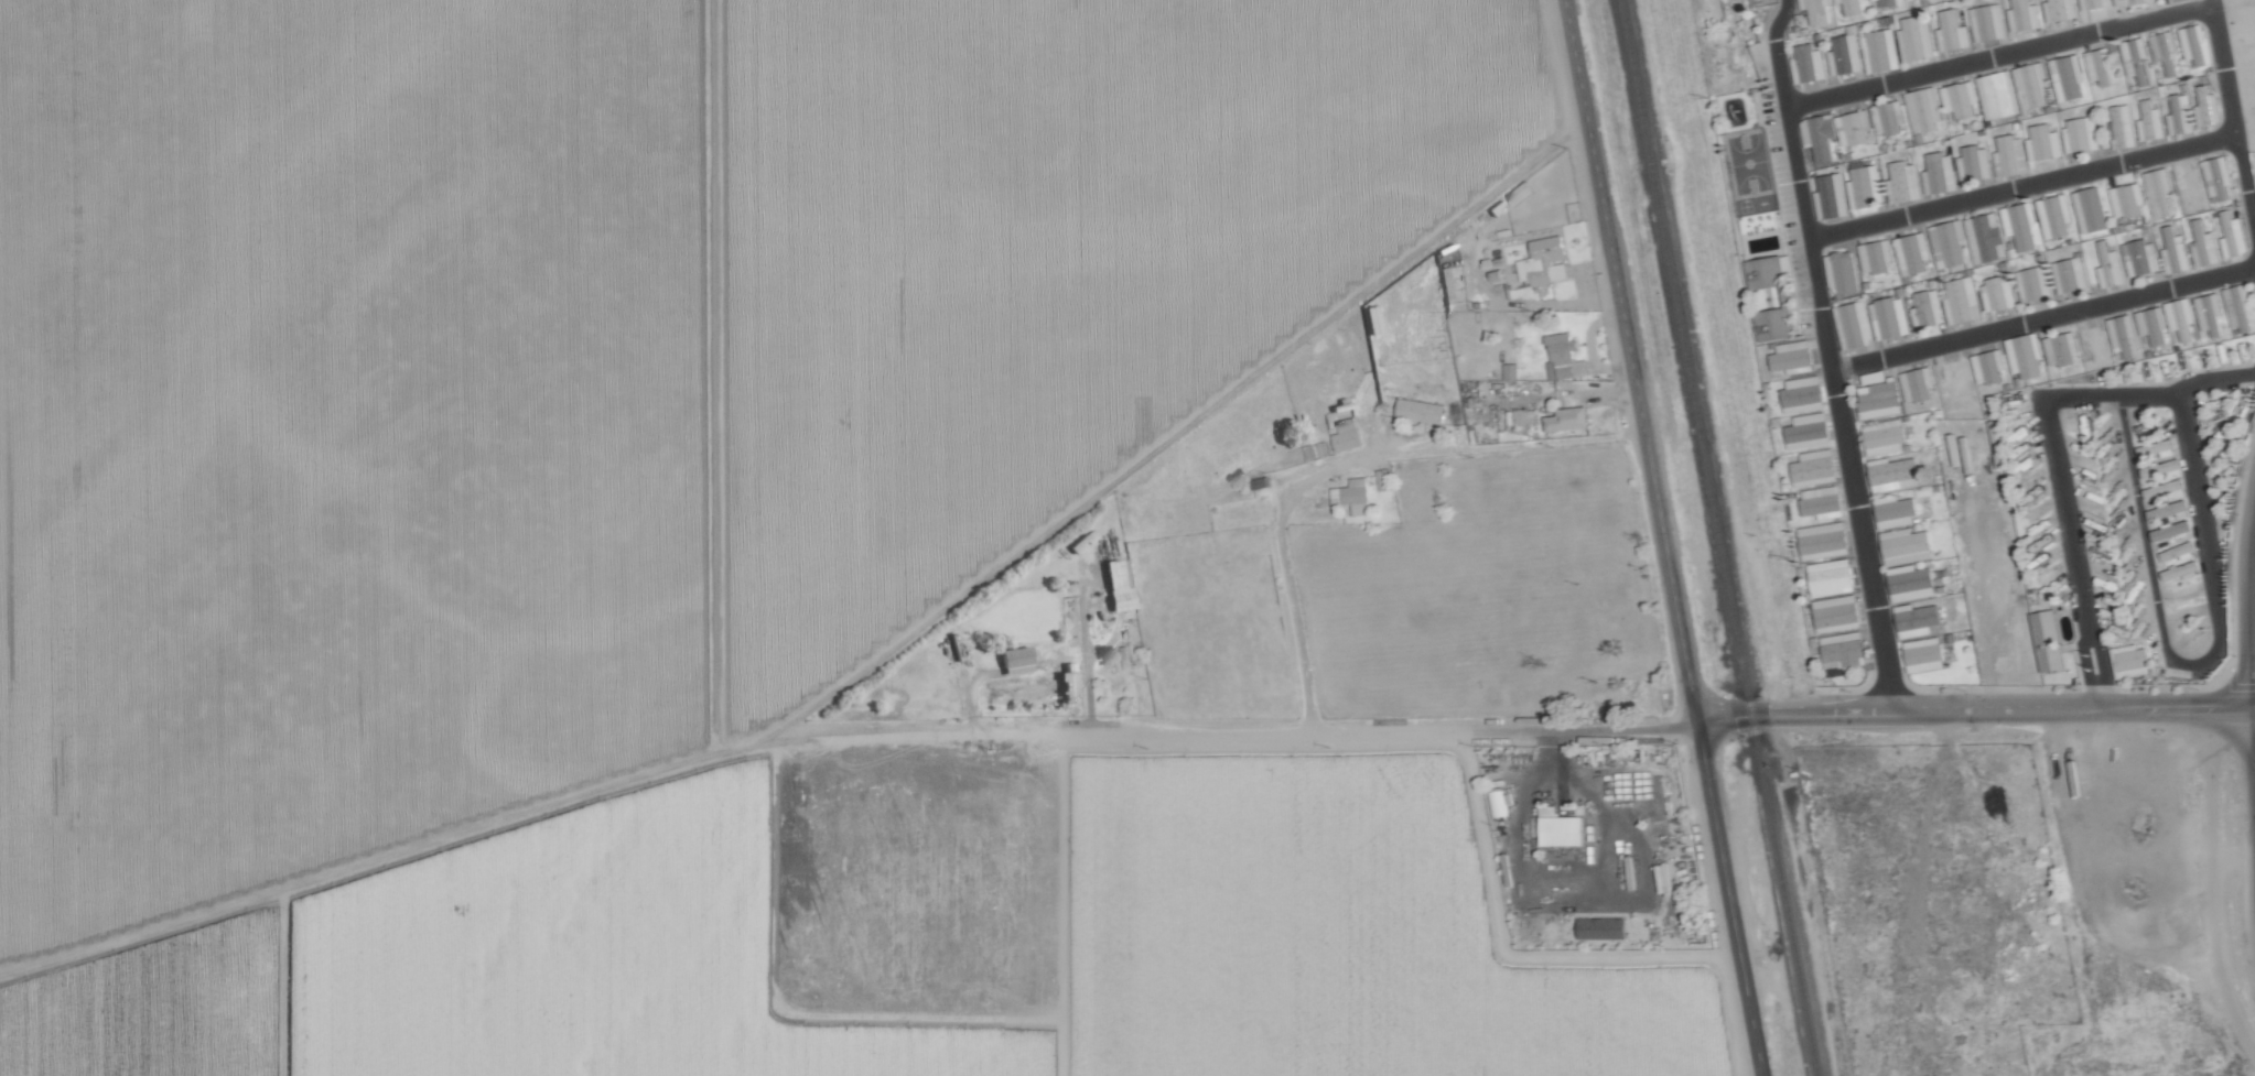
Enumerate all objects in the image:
building: (1763, 1)
building: (1888, 2)
building: (1854, 7)
building: (2060, 9)
building: (1816, 10)
building: (1982, 14)
building: (2025, 15)
building: (1953, 32)
building: (1917, 39)
building: (2194, 44)
building: (2166, 50)
building: (1881, 51)
building: (1844, 54)
road: (1997, 54)
building: (2136, 58)
building: (1808, 63)
building: (2101, 66)
building: (2071, 75)
building: (2032, 85)
building: (1998, 94)
building: (1922, 98)
building: (1961, 98)
building: (2211, 107)
building: (2180, 113)
building: (1888, 118)
building: (2149, 120)
road: (2232, 122)
building: (2122, 126)
building: (1854, 128)
building: (2083, 131)
building: (1821, 134)
building: (2008, 141)
building: (2043, 141)
building: (1975, 162)
building: (1936, 164)
building: (2216, 177)
building: (1907, 180)
building: (1867, 183)
building: (2187, 185)
road: (2021, 189)
building: (2158, 191)
building: (1833, 195)
building: (2126, 199)
building: (2090, 209)
building: (2054, 215)
building: (2019, 225)
building: (2233, 233)
building: (1984, 237)
building: (1909, 238)
building: (1947, 242)
building: (2203, 243)
building: (2175, 250)
building: (1874, 254)
building: (2141, 257)
building: (1545, 260)
building: (2110, 265)
building: (1768, 270)
building: (1842, 271)
building: (2072, 271)
building: (2038, 282)
building: (1997, 293)
building: (1961, 300)
building: (2238, 306)
building: (1925, 308)
building: (2211, 314)
building: (1887, 316)
road: (2042, 318)
building: (1777, 322)
building: (2154, 324)
building: (1853, 332)
building: (2124, 336)
building: (2093, 340)
building: (2061, 348)
building: (1792, 355)
building: (2027, 355)
building: (1564, 357)
road: (1828, 357)
road: (1629, 361)
building: (1989, 366)
building: (1512, 370)
building: (1953, 372)
building: (1875, 377)
road: (2214, 378)
building: (1918, 383)
building: (1803, 392)
building: (1880, 399)
building: (1422, 410)
building: (1571, 417)
building: (1809, 427)
building: (1348, 434)
road: (1177, 435)
building: (1886, 436)
building: (2156, 449)
building: (1315, 450)
road: (1338, 461)
building: (1814, 465)
building: (1901, 465)
building: (2155, 470)
building: (1384, 478)
road: (2060, 486)
building: (1353, 494)
building: (1822, 501)
building: (2167, 509)
building: (1896, 510)
building: (2171, 530)
railway: (1717, 537)
building: (1822, 537)
building: (1907, 545)
building: (2178, 551)
building: (2177, 572)
building: (1830, 577)
building: (1911, 582)
building: (1119, 584)
building: (1836, 610)
building: (1928, 616)
building: (2051, 640)
building: (1843, 648)
building: (1924, 653)
building: (2134, 657)
building: (1017, 660)
road: (2191, 670)
building: (1069, 678)
road: (2234, 687)
road: (1974, 713)
road: (1574, 730)
road: (711, 754)
building: (1496, 804)
road: (1609, 807)
building: (1549, 811)
building: (1564, 830)
road: (1728, 900)
building: (1605, 927)

